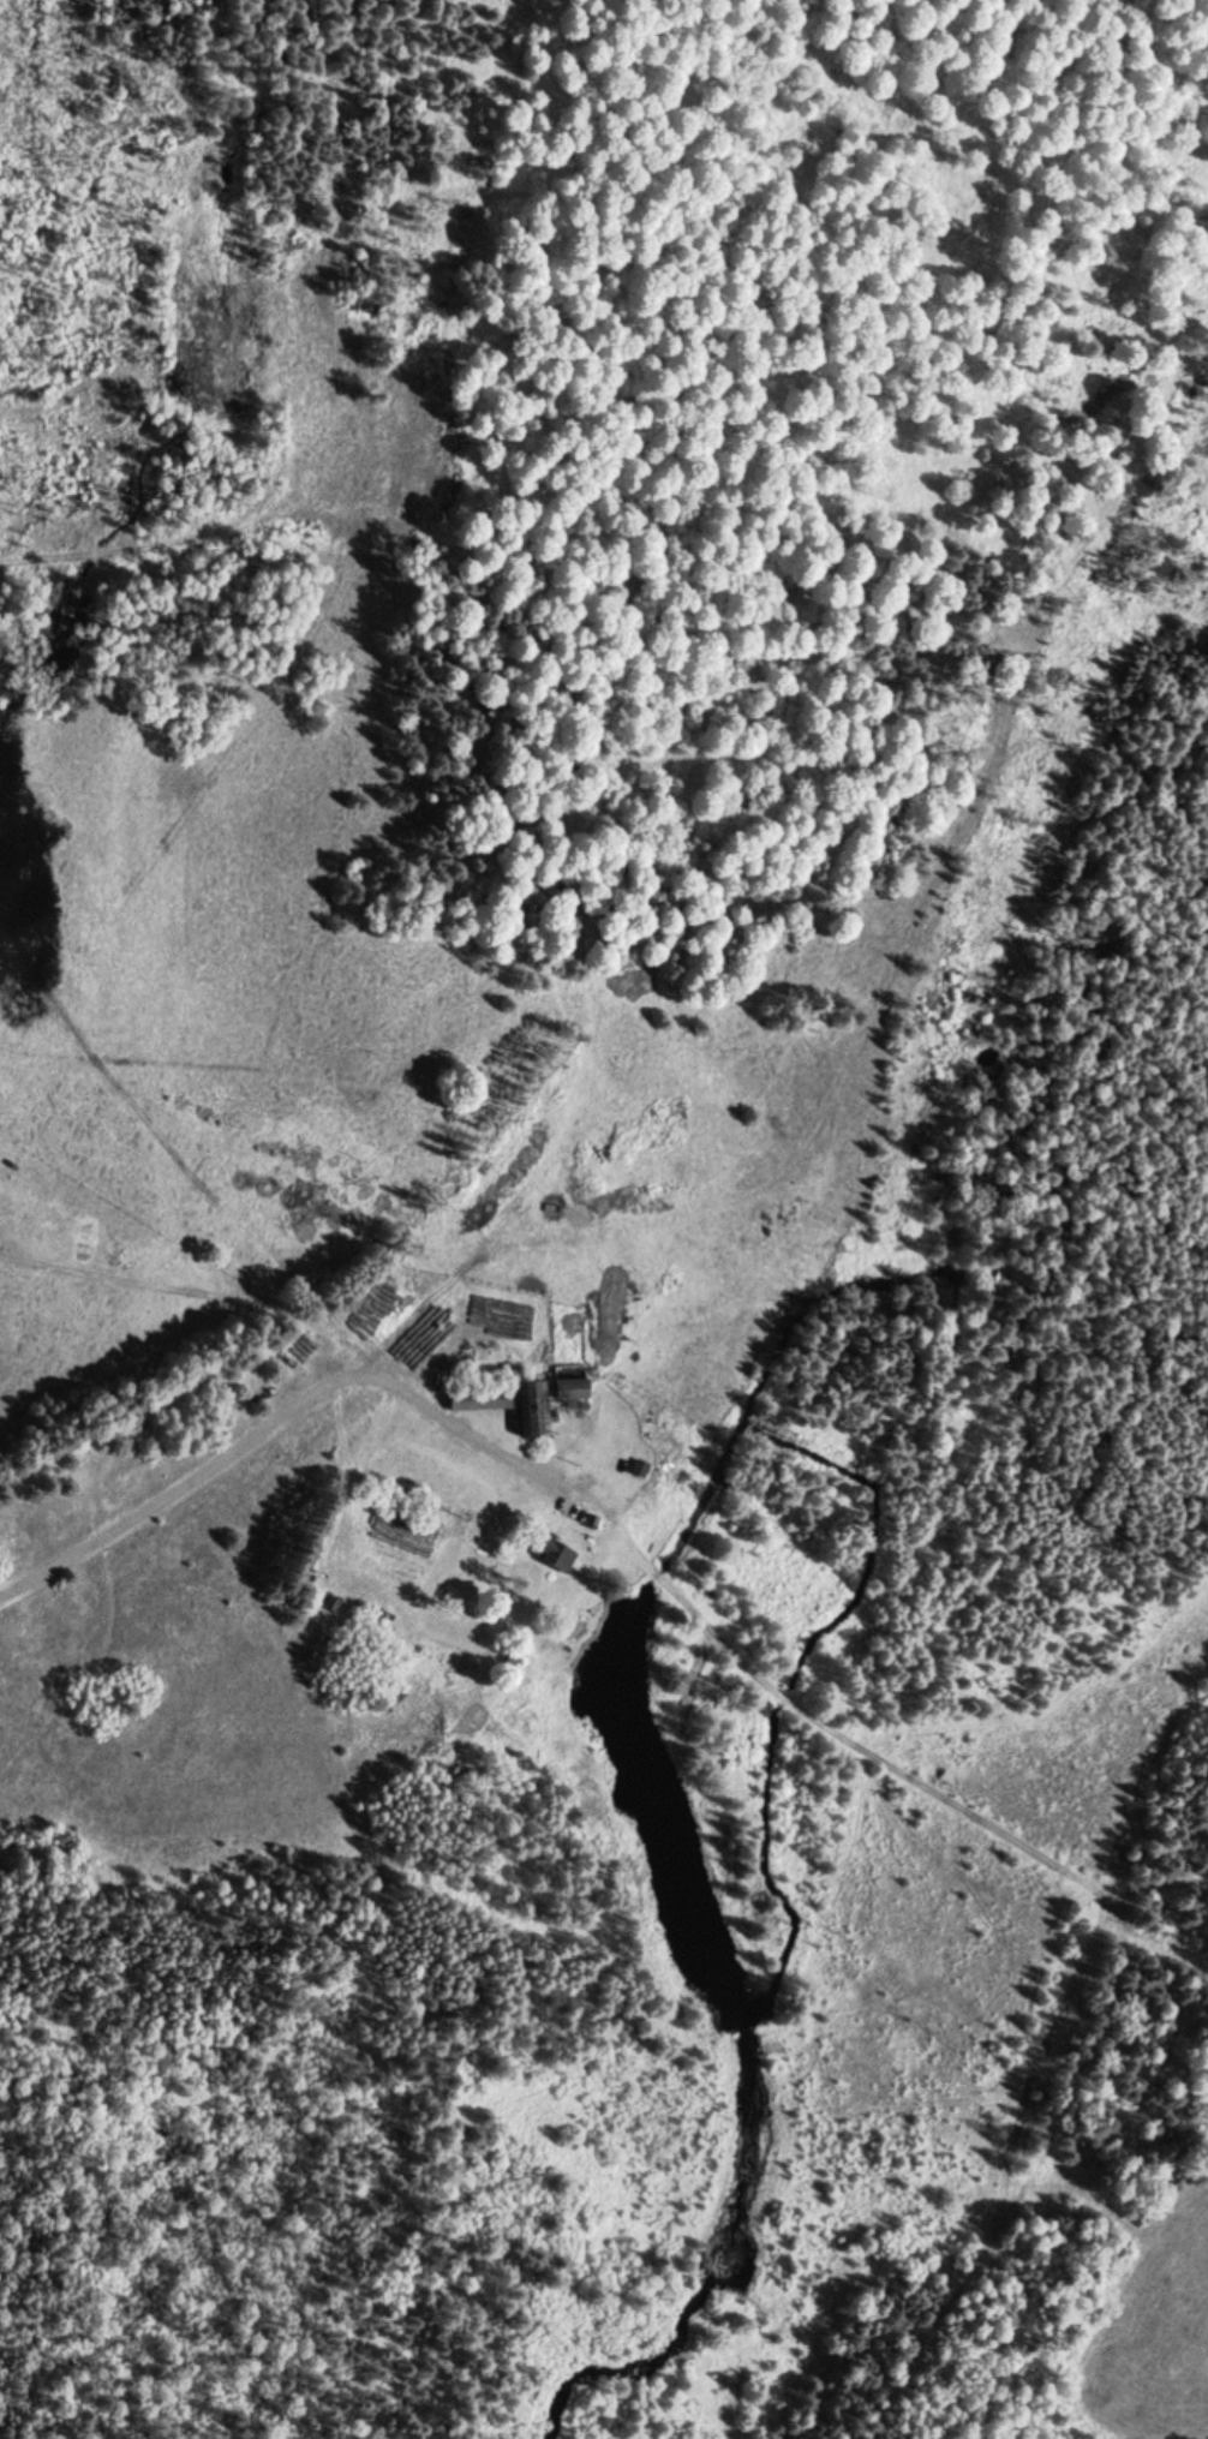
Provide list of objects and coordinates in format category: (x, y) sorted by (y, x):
building: (572, 1383)
building: (510, 1406)
road: (271, 1423)
building: (552, 1554)
road: (865, 1747)

